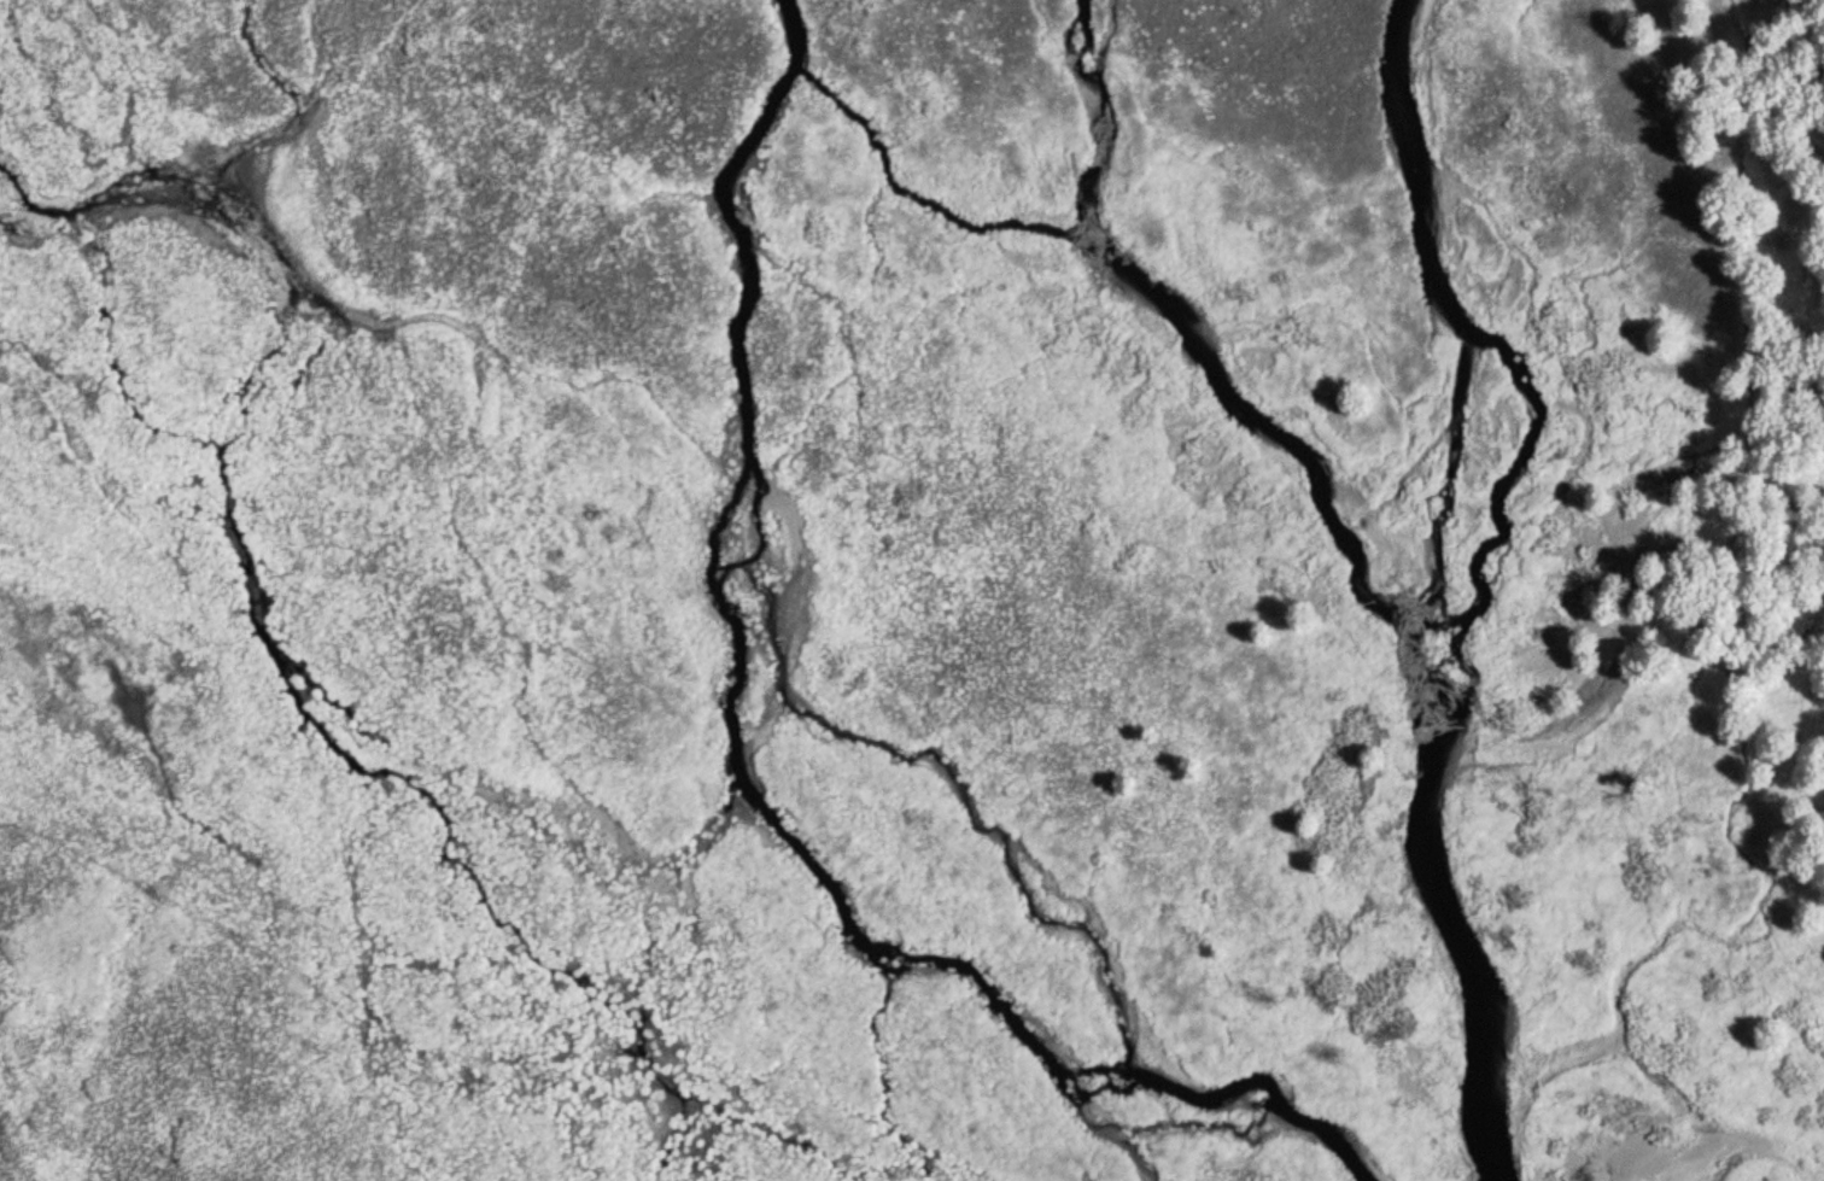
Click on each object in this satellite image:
river: (1430, 591)

